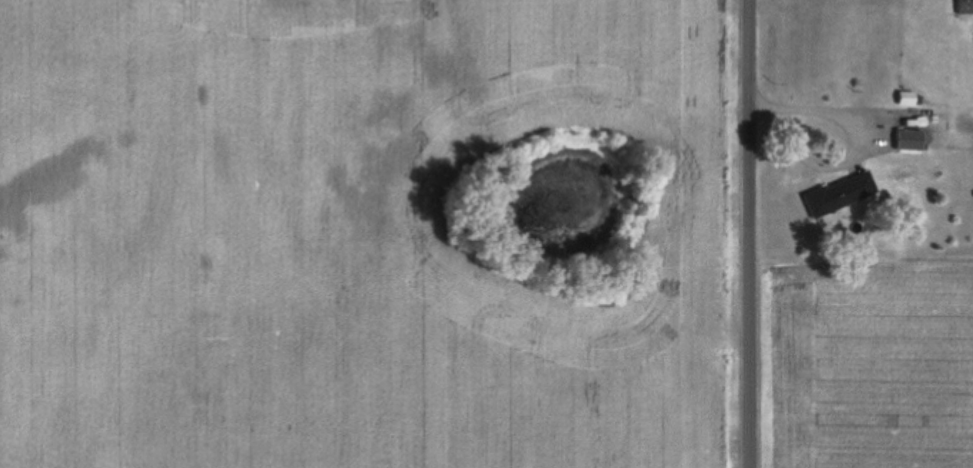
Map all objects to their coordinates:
building: (965, 6)
building: (906, 97)
building: (972, 138)
building: (909, 139)
building: (957, 141)
building: (839, 193)
road: (750, 234)

